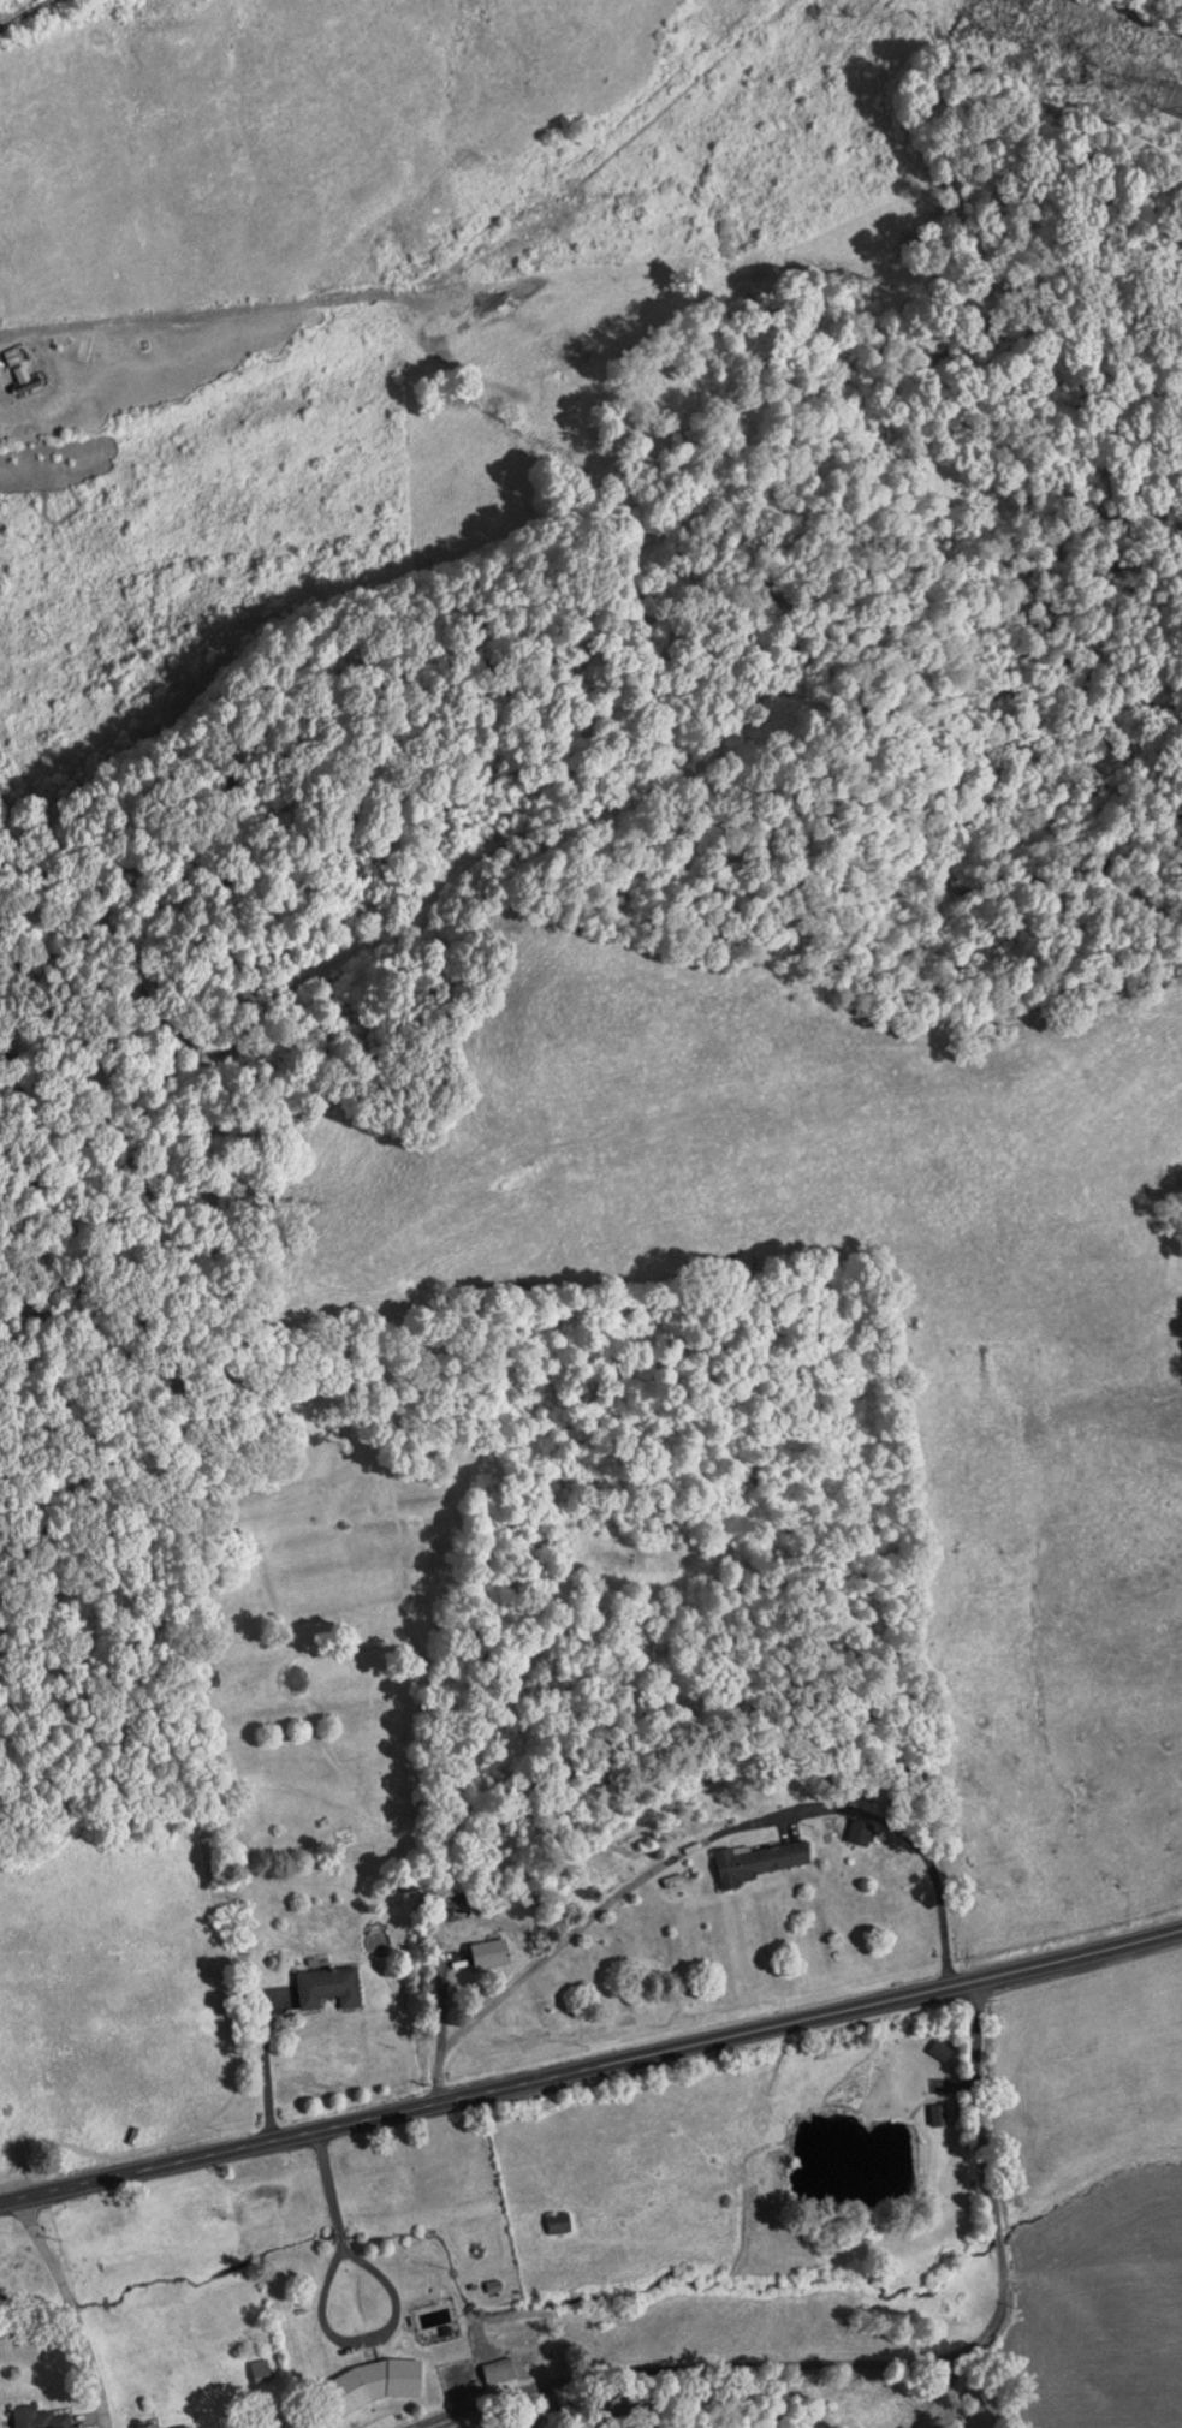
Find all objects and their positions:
road: (52, 26)
power tower: (1178, 111)
building: (26, 385)
building: (832, 1832)
building: (760, 1862)
building: (488, 1953)
building: (327, 1988)
road: (592, 2069)
building: (937, 2115)
road: (987, 2135)
building: (558, 2222)
road: (222, 2292)
building: (375, 2382)
building: (40, 2417)
building: (149, 2424)
building: (186, 2427)

